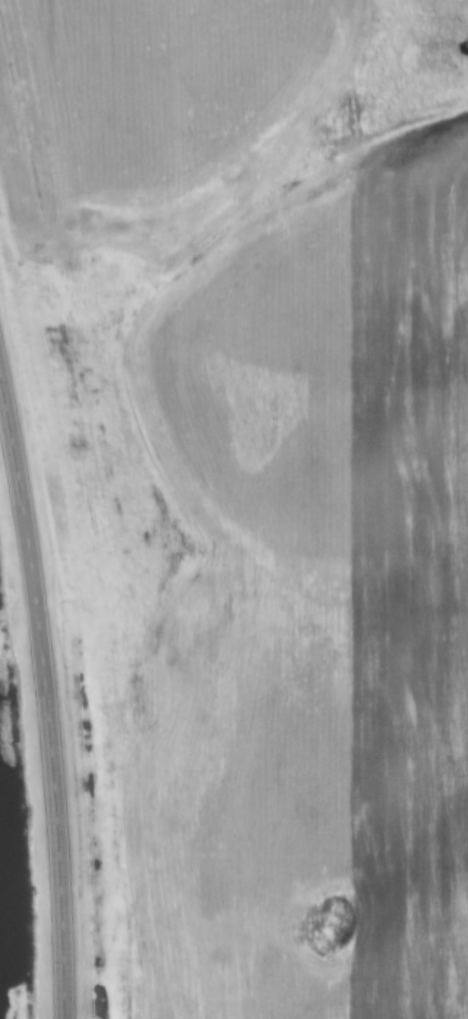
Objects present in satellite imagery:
road: (51, 680)

